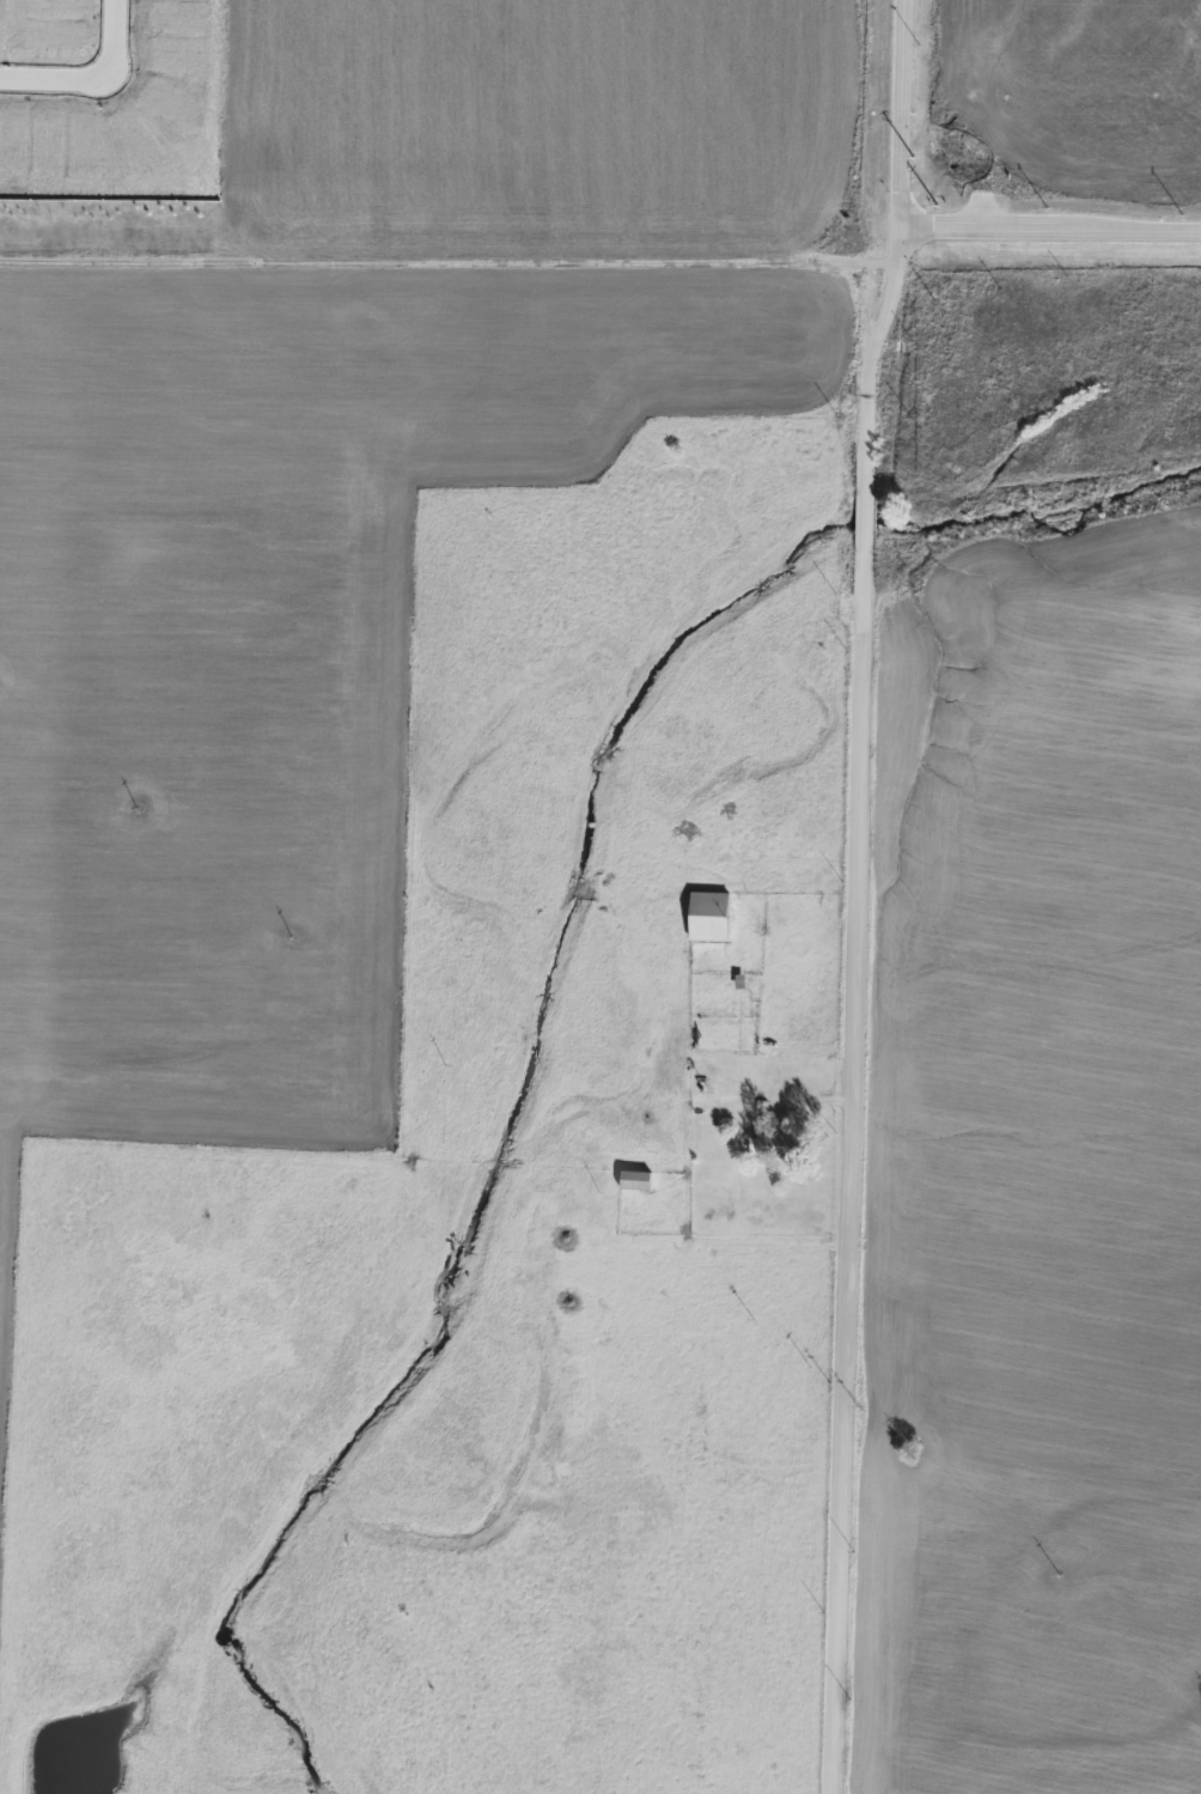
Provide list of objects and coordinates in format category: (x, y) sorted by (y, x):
road: (114, 37)
road: (54, 80)
crop: (1072, 92)
road: (902, 115)
crop: (532, 133)
road: (1050, 231)
building: (709, 917)
road: (854, 1010)
road: (807, 1102)
building: (774, 1147)
crop: (1049, 1157)
building: (635, 1180)

